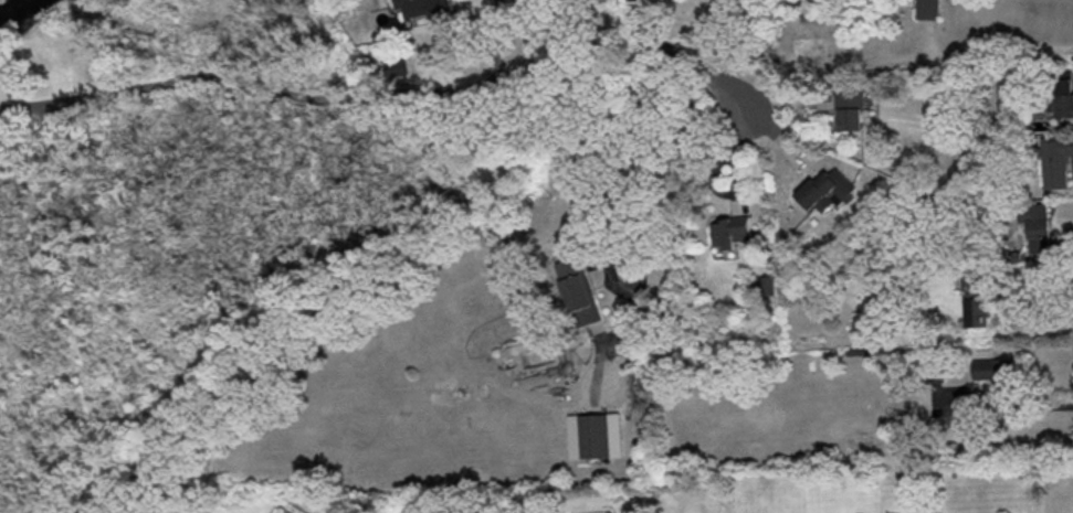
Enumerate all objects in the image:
road: (347, 0)
building: (422, 8)
building: (927, 9)
river: (15, 11)
road: (999, 47)
building: (396, 67)
road: (696, 67)
building: (1063, 93)
road: (336, 99)
road: (51, 101)
building: (850, 109)
road: (640, 156)
building: (1054, 160)
building: (1035, 225)
building: (729, 232)
building: (762, 282)
building: (578, 290)
building: (974, 302)
road: (1006, 302)
park: (69, 311)
building: (993, 368)
road: (1017, 408)
building: (593, 435)

